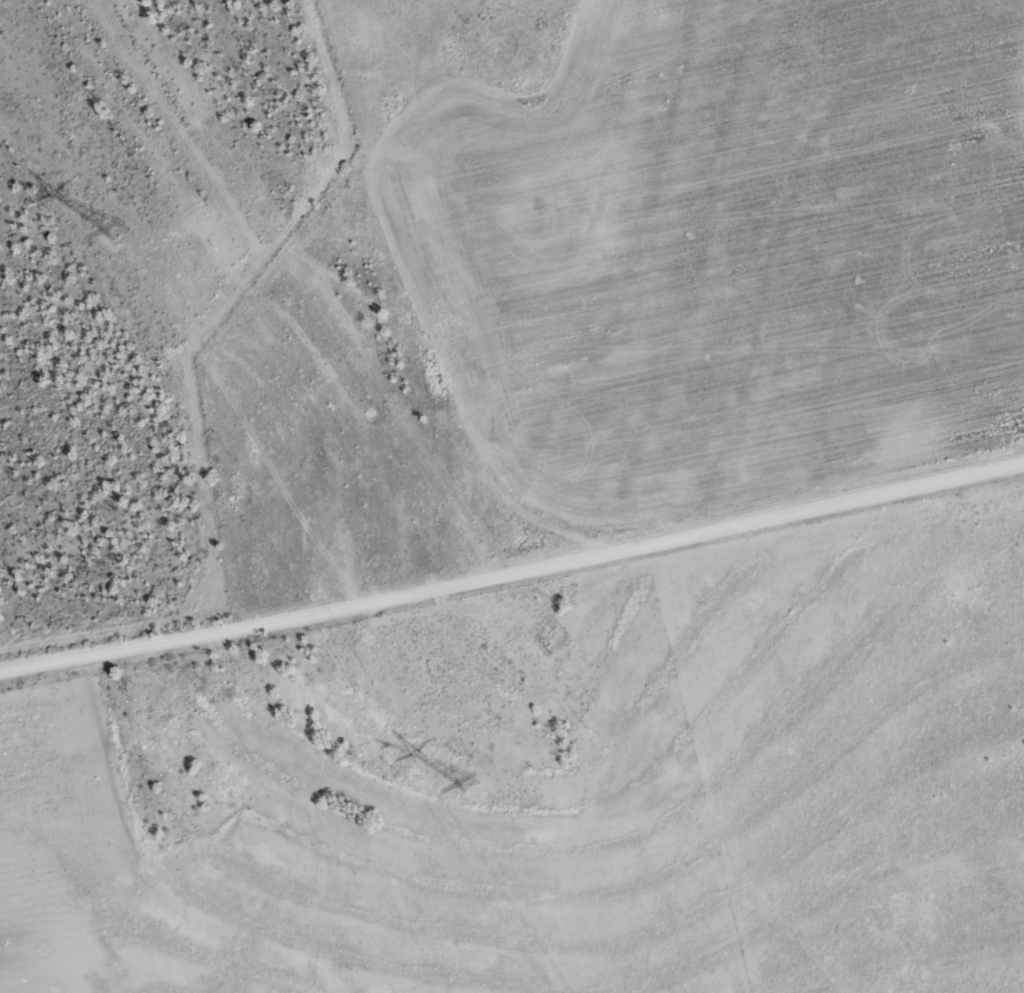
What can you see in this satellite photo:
power tower: (118, 228)
road: (410, 283)
road: (511, 567)
power tower: (468, 781)

